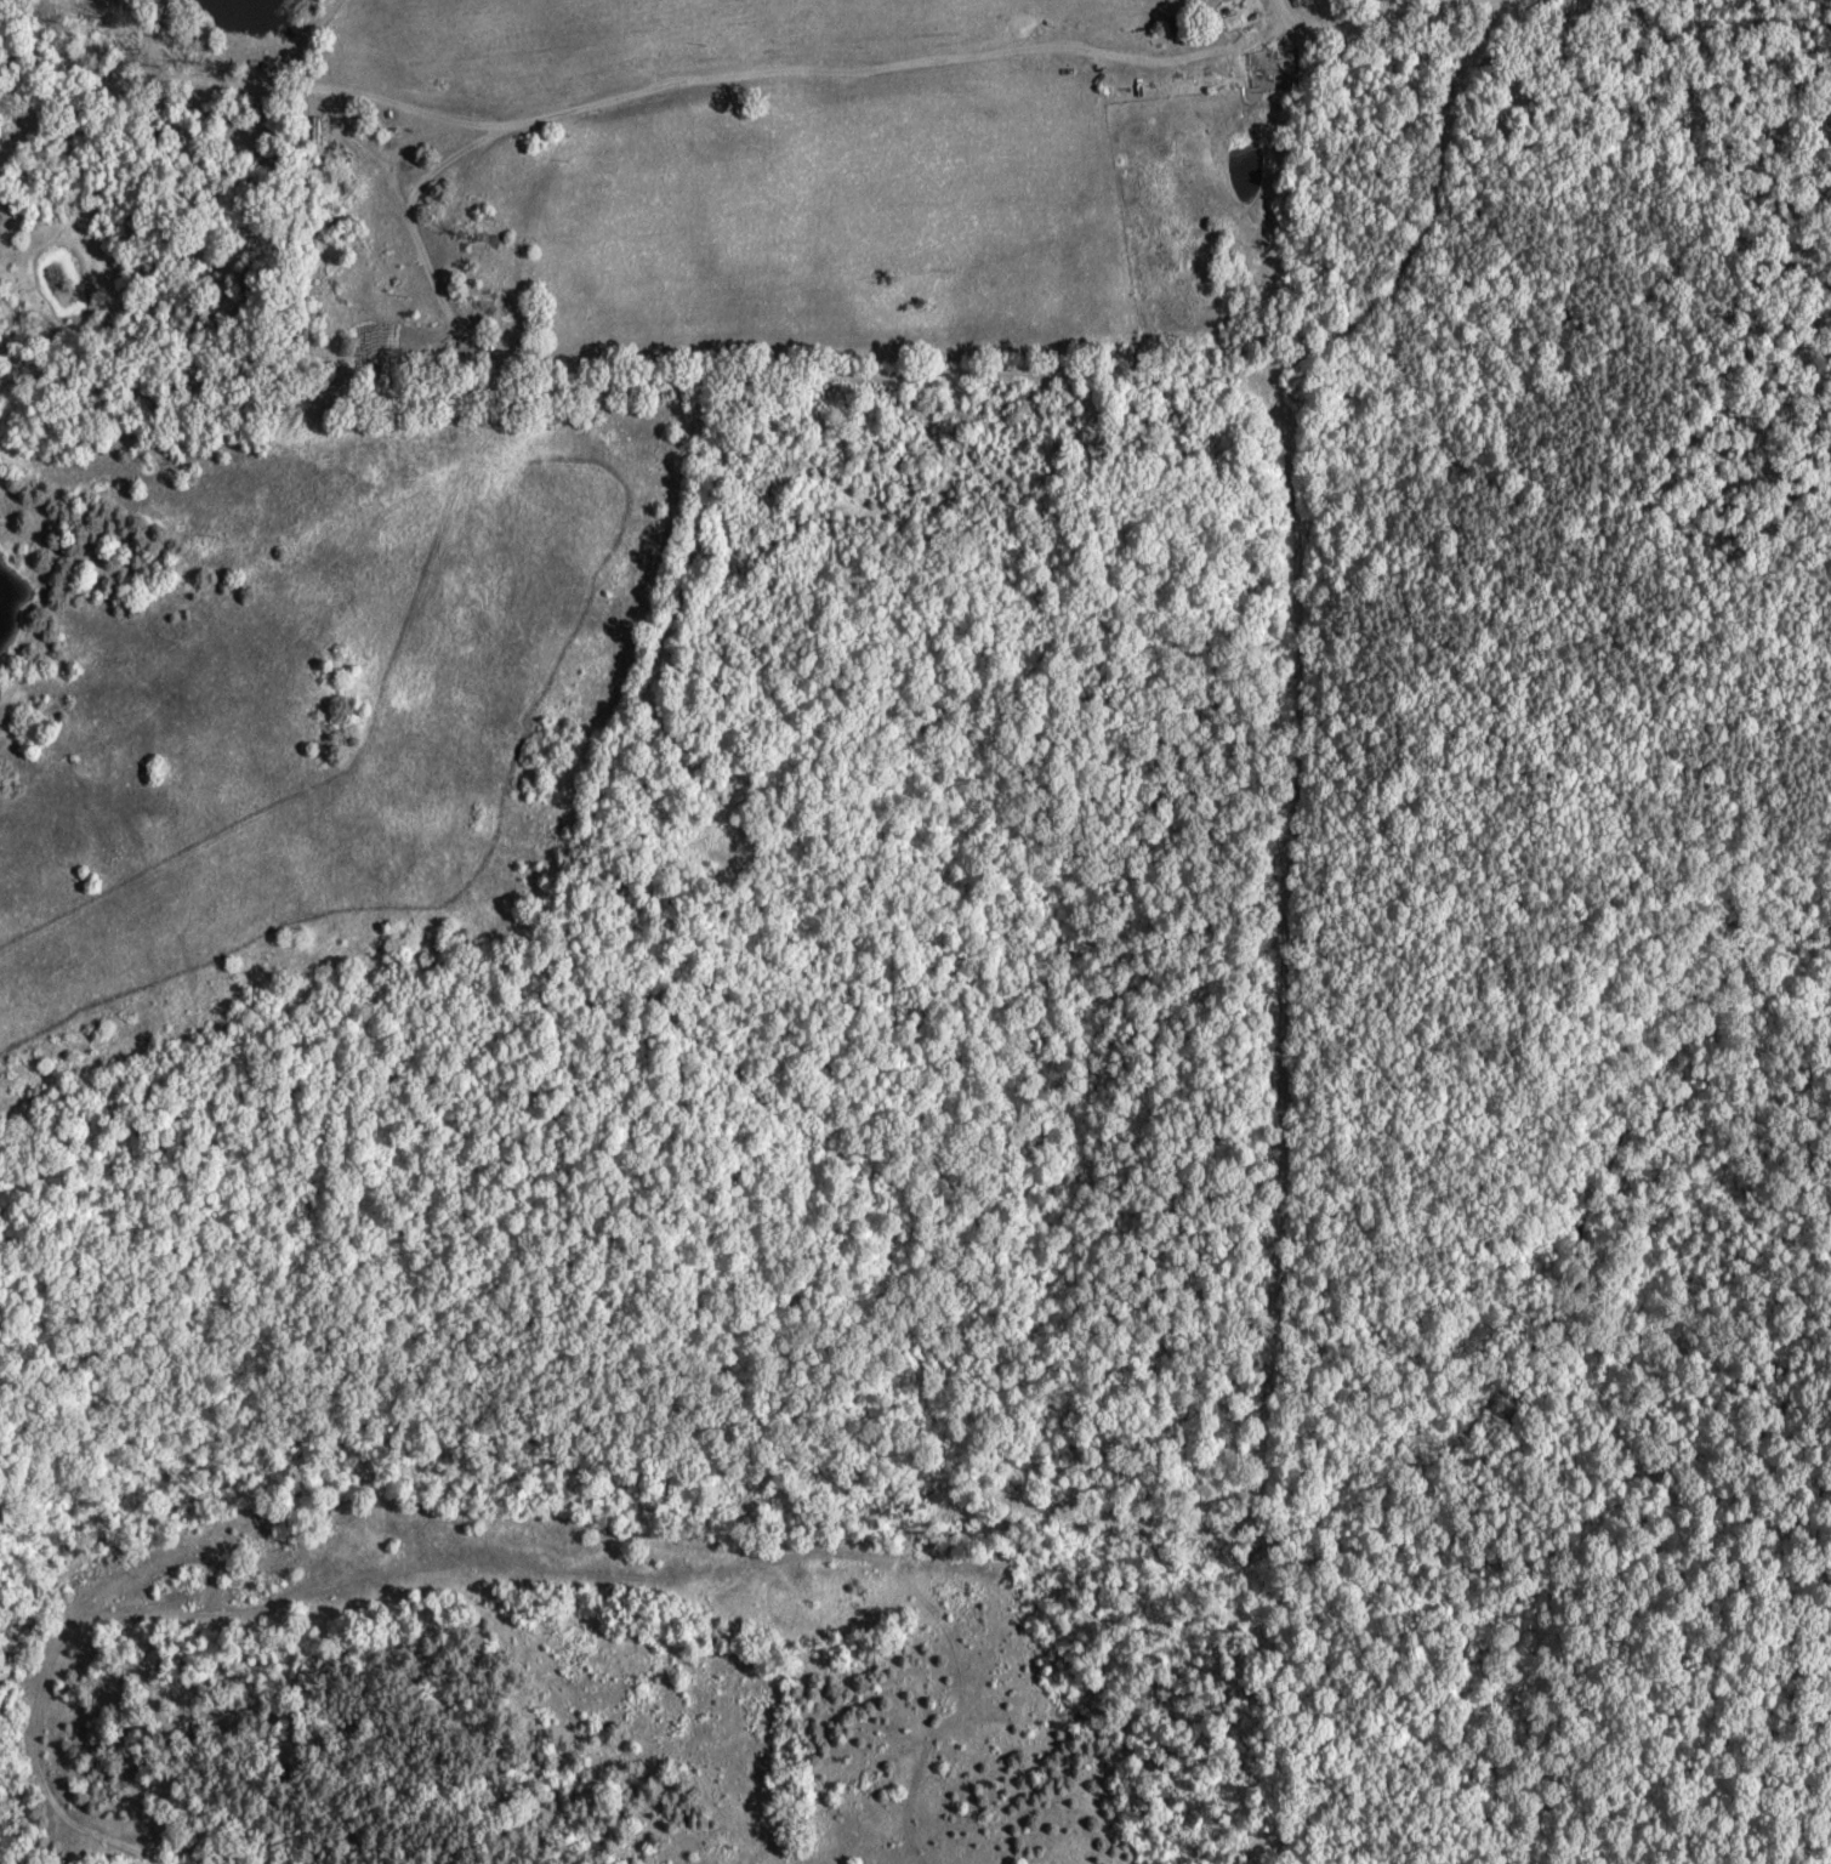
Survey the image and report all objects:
road: (900, 108)
road: (1409, 189)
road: (315, 393)

